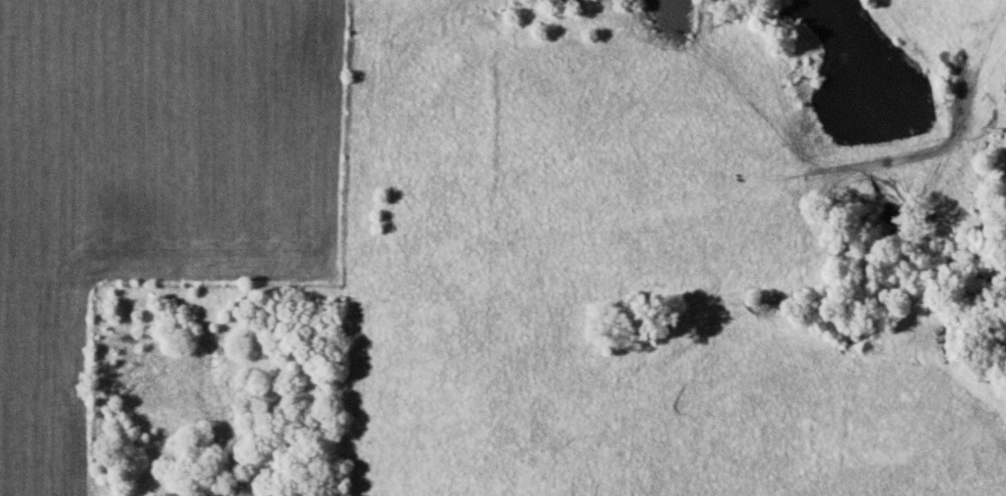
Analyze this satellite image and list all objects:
crop: (148, 179)

